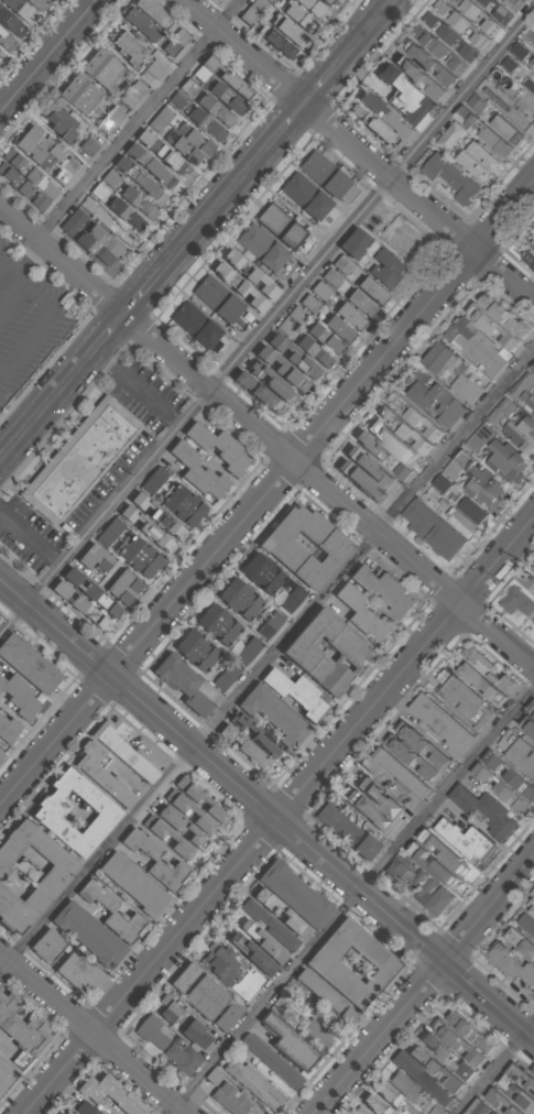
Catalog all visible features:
building: (271, 0)
building: (37, 4)
building: (514, 4)
building: (316, 9)
building: (20, 10)
building: (254, 11)
building: (498, 11)
building: (151, 12)
building: (297, 13)
building: (483, 17)
building: (10, 23)
building: (140, 23)
building: (460, 23)
building: (290, 30)
road: (368, 30)
building: (448, 35)
building: (4, 37)
building: (277, 40)
building: (168, 46)
building: (124, 47)
building: (437, 48)
building: (0, 50)
building: (520, 50)
road: (47, 56)
building: (433, 63)
building: (510, 63)
building: (532, 66)
building: (100, 67)
building: (153, 68)
building: (421, 76)
building: (226, 77)
building: (530, 84)
building: (189, 87)
building: (79, 95)
building: (132, 95)
building: (228, 97)
building: (178, 99)
building: (407, 99)
building: (217, 109)
building: (384, 117)
building: (160, 118)
road: (140, 120)
building: (110, 121)
building: (61, 123)
building: (207, 123)
building: (371, 123)
building: (509, 129)
building: (483, 131)
building: (450, 135)
building: (188, 141)
building: (87, 145)
building: (36, 146)
building: (160, 151)
road: (359, 151)
building: (479, 162)
building: (148, 164)
building: (64, 170)
building: (323, 175)
building: (137, 177)
building: (450, 177)
building: (28, 178)
building: (305, 196)
building: (139, 201)
building: (128, 214)
building: (73, 221)
building: (118, 228)
building: (284, 229)
building: (353, 242)
building: (99, 243)
building: (532, 247)
building: (265, 250)
road: (172, 259)
building: (528, 259)
building: (344, 263)
building: (386, 270)
building: (249, 274)
building: (333, 276)
building: (239, 287)
building: (322, 290)
building: (373, 290)
building: (217, 299)
building: (362, 303)
building: (297, 313)
building: (351, 315)
building: (512, 318)
parking lot: (30, 320)
road: (266, 323)
building: (195, 324)
building: (286, 326)
building: (491, 326)
building: (340, 328)
building: (327, 338)
building: (475, 347)
building: (316, 350)
building: (292, 353)
building: (437, 360)
building: (281, 367)
building: (532, 367)
building: (274, 385)
road: (137, 387)
building: (466, 387)
building: (522, 387)
building: (257, 393)
building: (434, 402)
building: (531, 403)
building: (500, 412)
building: (533, 413)
building: (414, 416)
building: (403, 429)
building: (522, 435)
road: (266, 438)
building: (373, 444)
building: (217, 447)
building: (498, 452)
building: (81, 461)
building: (402, 471)
building: (197, 472)
building: (366, 473)
building: (154, 479)
building: (476, 480)
road: (266, 492)
building: (182, 506)
building: (471, 507)
building: (159, 517)
building: (460, 523)
building: (429, 528)
building: (109, 531)
building: (148, 531)
road: (31, 535)
building: (304, 546)
building: (138, 557)
building: (92, 558)
building: (261, 572)
building: (530, 581)
building: (121, 587)
building: (383, 590)
building: (90, 593)
building: (240, 599)
building: (292, 599)
building: (516, 602)
building: (80, 607)
building: (363, 616)
building: (218, 624)
building: (270, 624)
building: (247, 651)
building: (196, 652)
building: (327, 652)
road: (266, 663)
building: (26, 664)
building: (488, 669)
building: (226, 676)
building: (480, 684)
building: (183, 685)
building: (295, 692)
building: (19, 697)
building: (466, 701)
building: (531, 708)
building: (273, 713)
building: (443, 725)
building: (527, 727)
building: (7, 729)
building: (254, 733)
building: (424, 744)
building: (243, 747)
building: (123, 751)
building: (517, 753)
building: (0, 754)
building: (413, 756)
building: (392, 769)
building: (510, 776)
building: (102, 777)
building: (499, 788)
building: (375, 797)
building: (199, 799)
road: (266, 808)
building: (363, 810)
building: (483, 810)
building: (74, 811)
building: (188, 811)
road: (280, 816)
building: (181, 828)
building: (345, 830)
building: (167, 837)
building: (464, 841)
building: (440, 852)
building: (154, 860)
building: (432, 866)
building: (30, 873)
building: (401, 874)
building: (132, 884)
building: (292, 893)
building: (533, 897)
building: (432, 899)
road: (352, 902)
building: (110, 910)
building: (283, 913)
building: (532, 913)
building: (526, 922)
building: (269, 924)
building: (88, 936)
building: (263, 942)
building: (520, 943)
building: (45, 944)
building: (252, 953)
building: (351, 962)
building: (510, 966)
building: (231, 971)
building: (77, 972)
building: (184, 976)
road: (425, 986)
building: (325, 995)
building: (206, 996)
building: (281, 1002)
building: (167, 1008)
building: (226, 1016)
building: (150, 1031)
building: (318, 1031)
building: (19, 1034)
road: (91, 1034)
building: (469, 1034)
building: (195, 1035)
building: (287, 1041)
building: (458, 1044)
building: (446, 1057)
building: (182, 1059)
building: (272, 1060)
building: (434, 1069)
road: (495, 1069)
building: (7, 1075)
building: (212, 1077)
building: (422, 1078)
building: (521, 1078)
building: (253, 1083)
building: (406, 1085)
building: (109, 1094)
building: (519, 1095)
building: (391, 1099)
building: (233, 1101)
building: (500, 1102)
building: (374, 1105)
building: (83, 1108)
building: (480, 1108)
building: (436, 1110)
building: (358, 1111)
building: (69, 1112)
building: (494, 1113)

